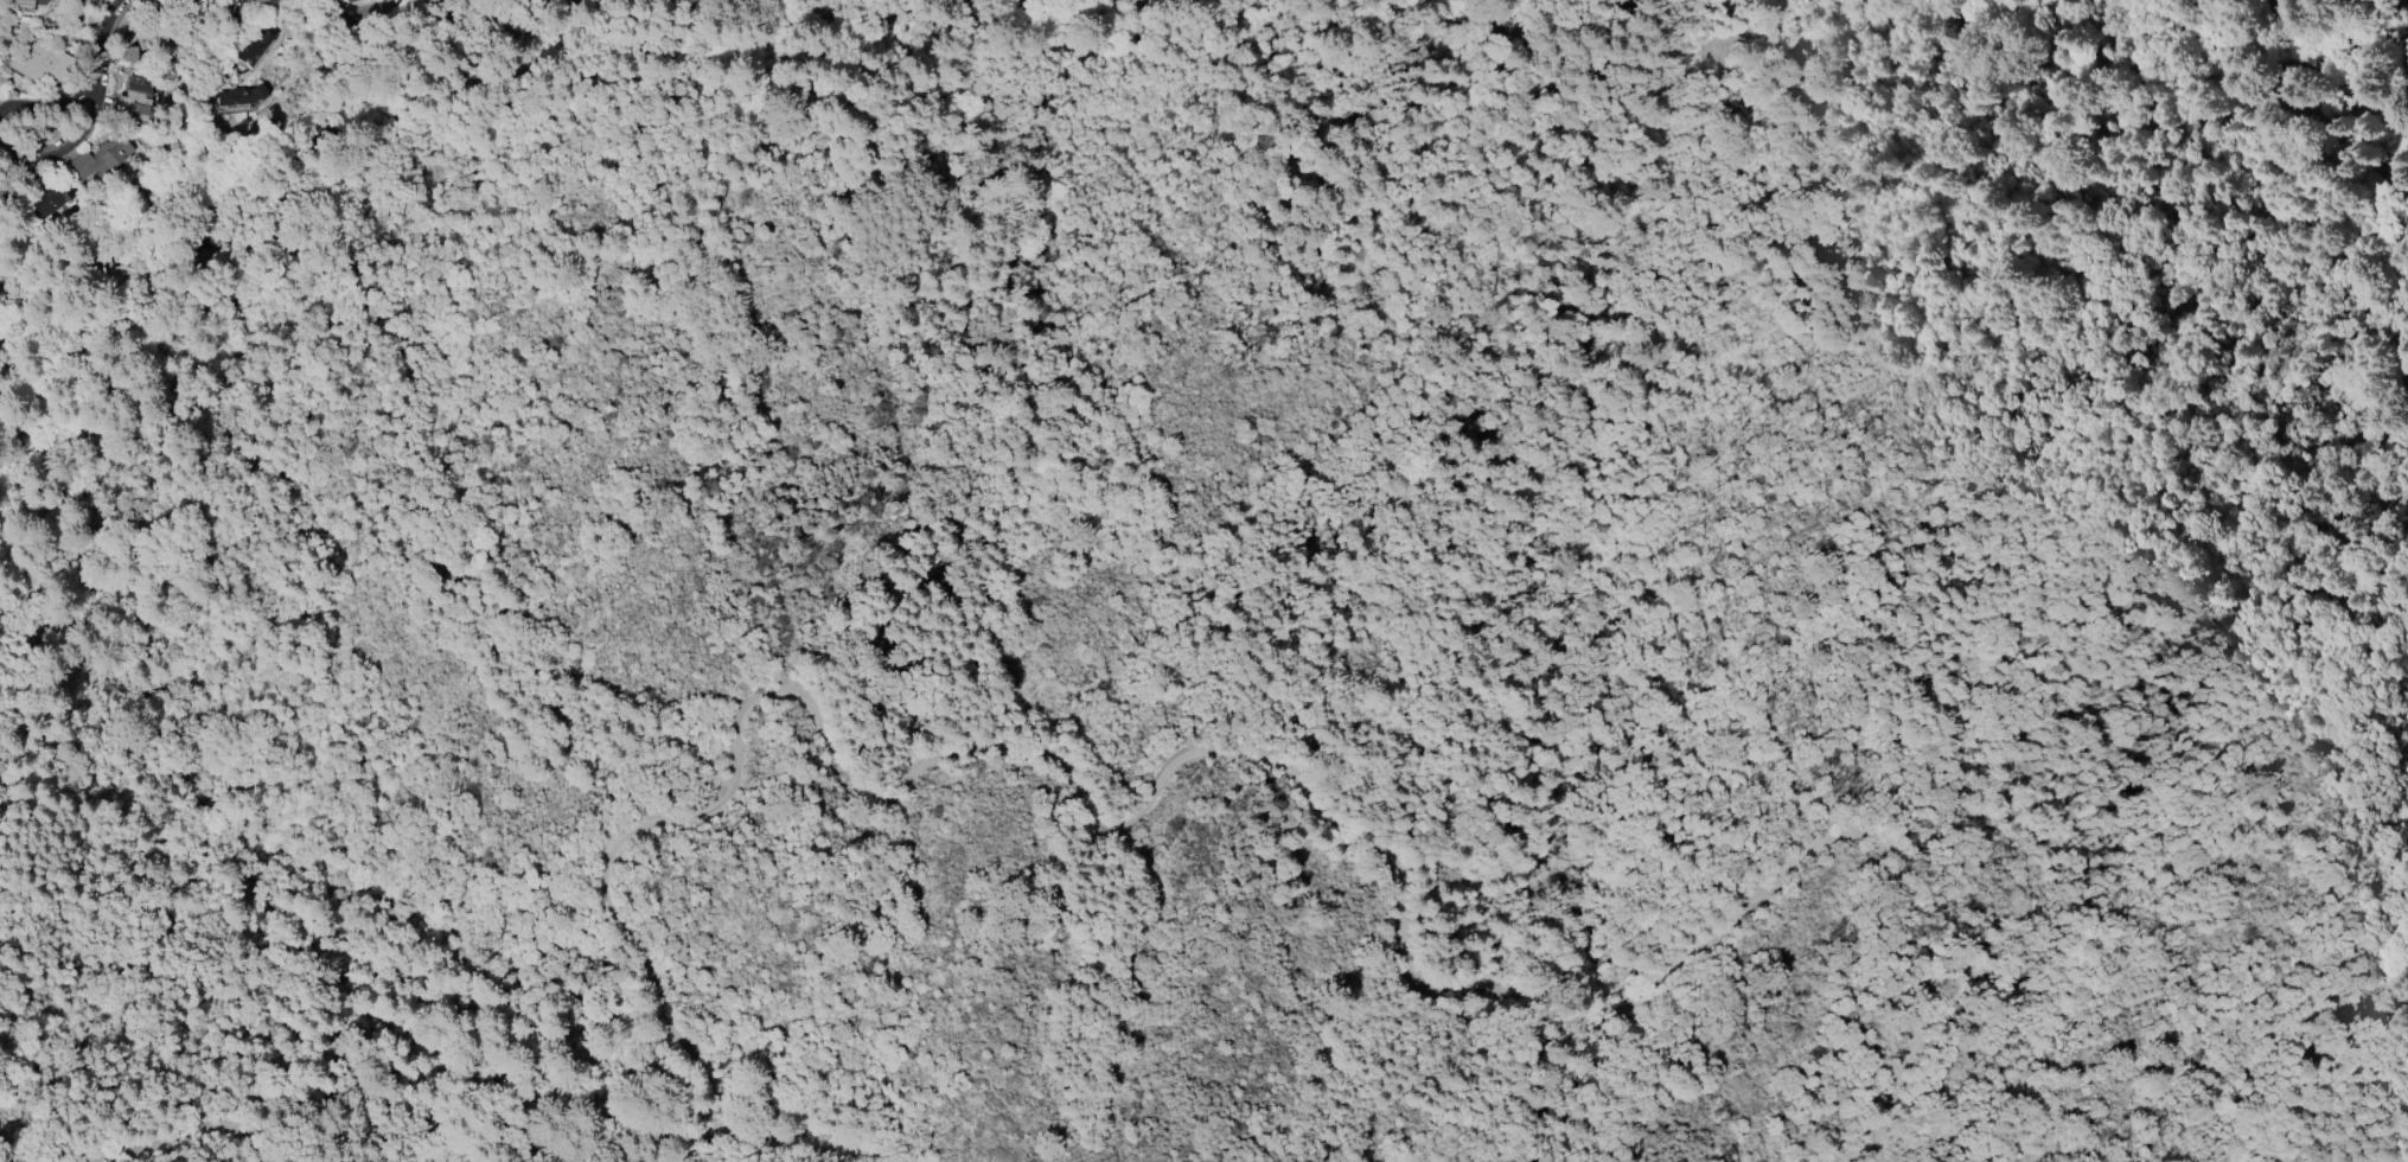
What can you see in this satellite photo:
building: (346, 0)
building: (353, 0)
building: (30, 1)
building: (196, 1)
building: (167, 2)
building: (264, 2)
building: (230, 9)
road: (363, 12)
road: (1767, 34)
road: (102, 40)
road: (703, 41)
building: (257, 45)
building: (39, 60)
building: (241, 96)
building: (135, 97)
road: (314, 115)
road: (2383, 130)
road: (2183, 134)
road: (6, 142)
building: (100, 158)
building: (2387, 173)
road: (288, 179)
building: (51, 198)
road: (148, 249)
road: (2365, 395)
road: (200, 734)
road: (1244, 755)
road: (127, 1144)
road: (2061, 1150)

